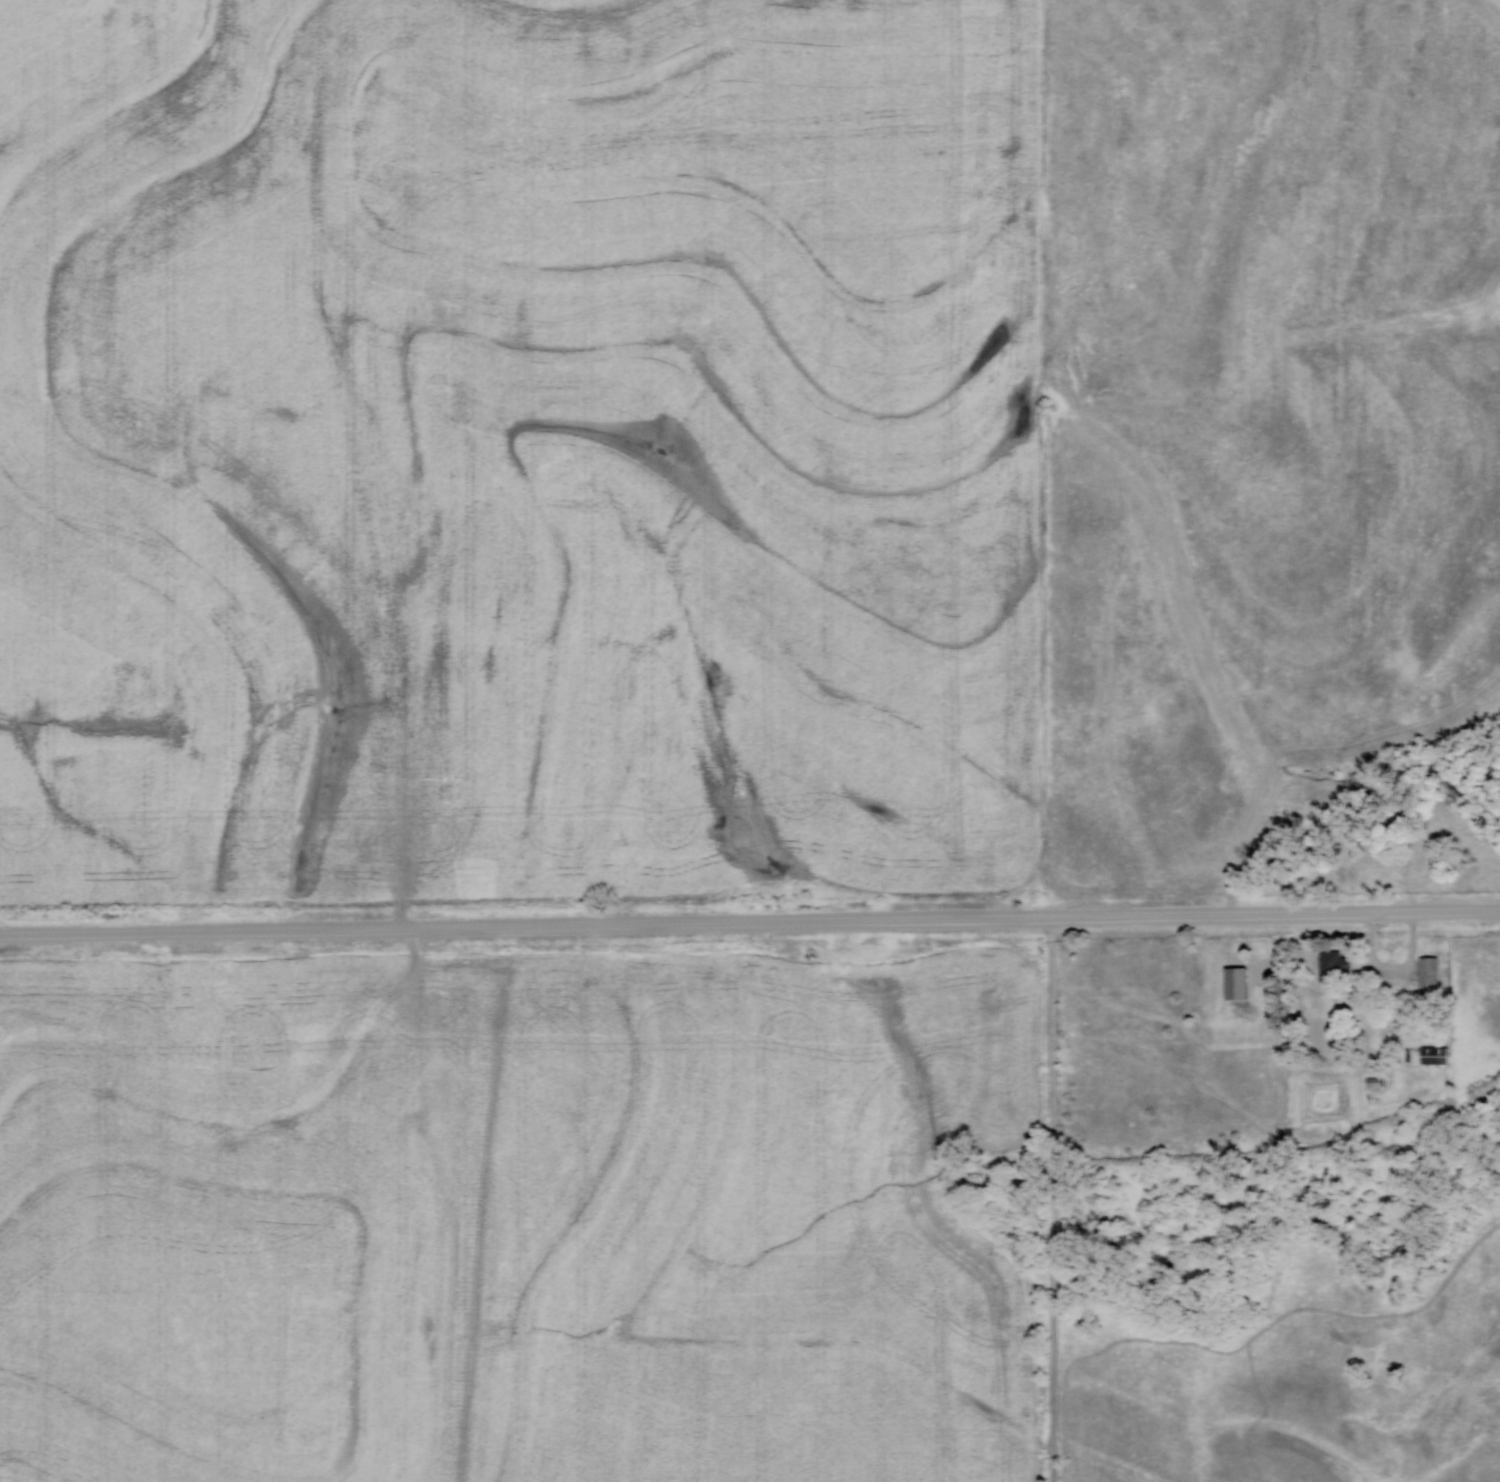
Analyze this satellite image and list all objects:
road: (750, 925)
building: (1334, 964)
building: (1430, 971)
building: (1435, 1054)

